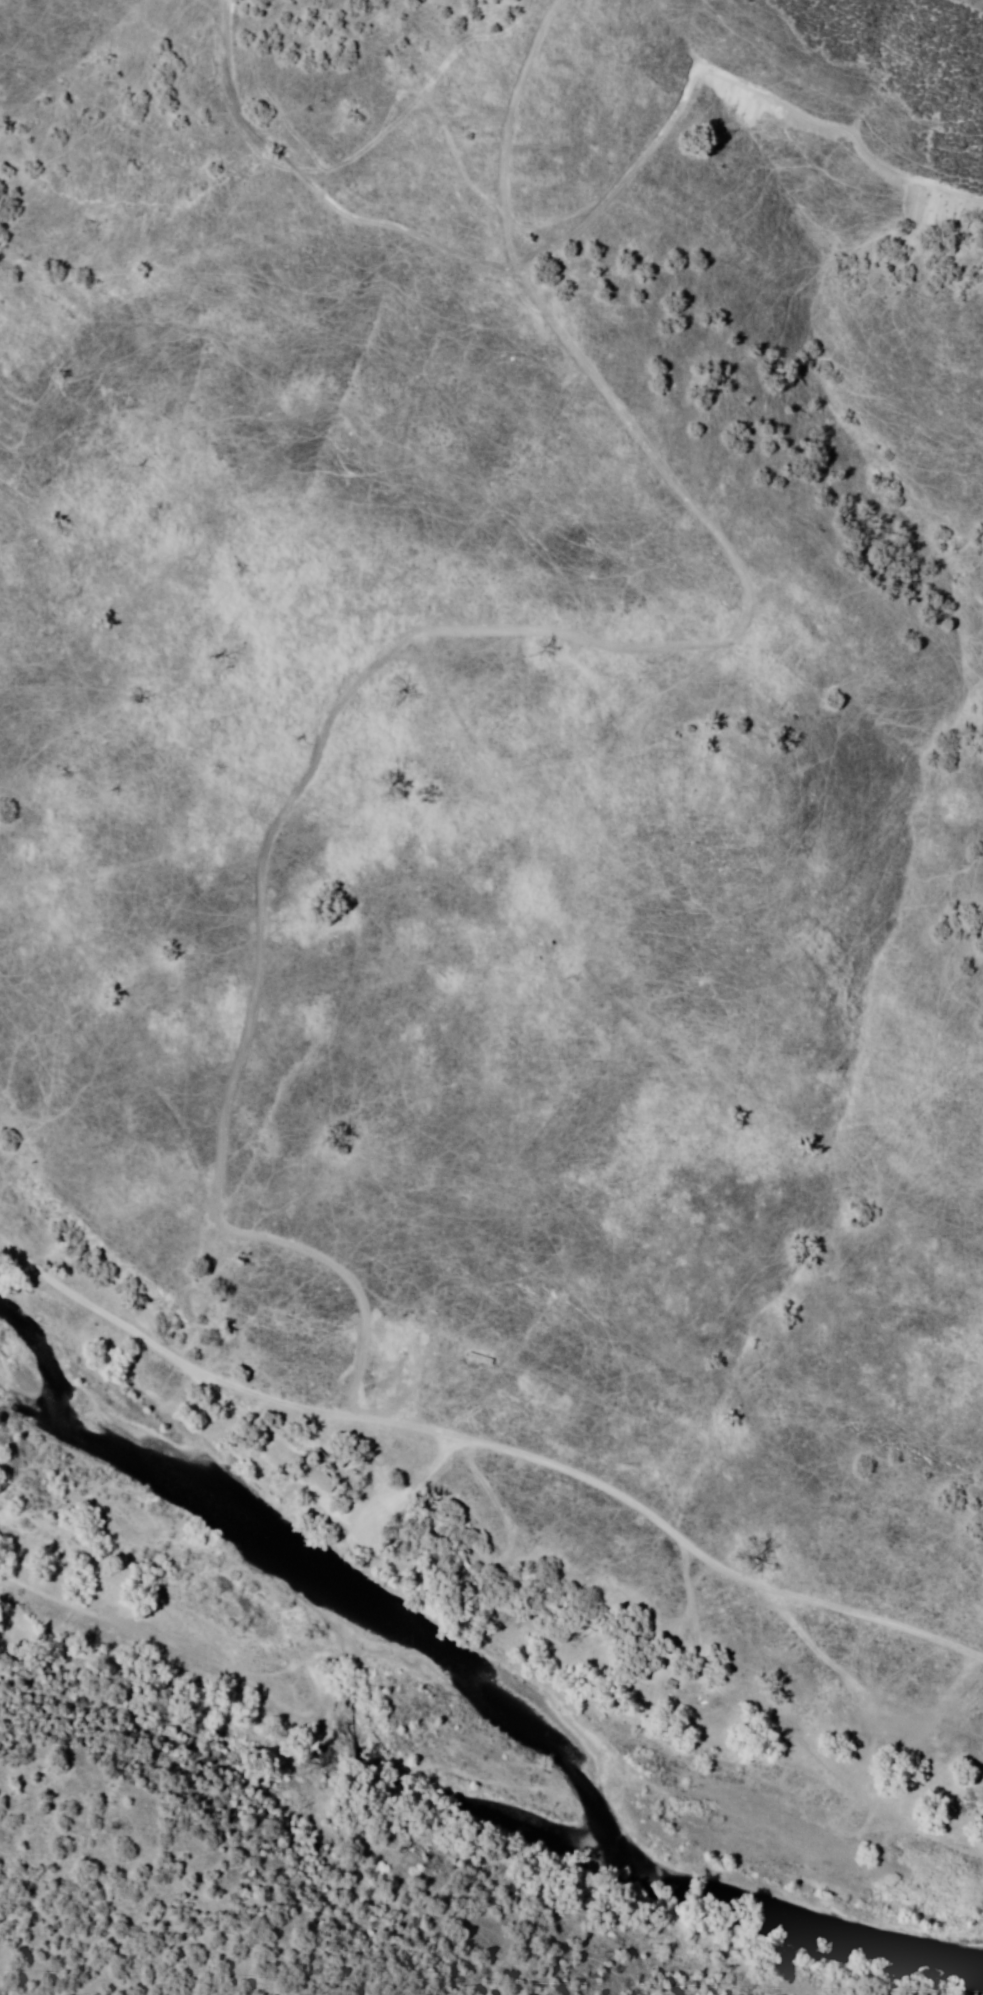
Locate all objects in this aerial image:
road: (463, 628)
building: (478, 1358)
river: (45, 1422)
road: (493, 1448)
building: (318, 1485)
river: (554, 1730)

